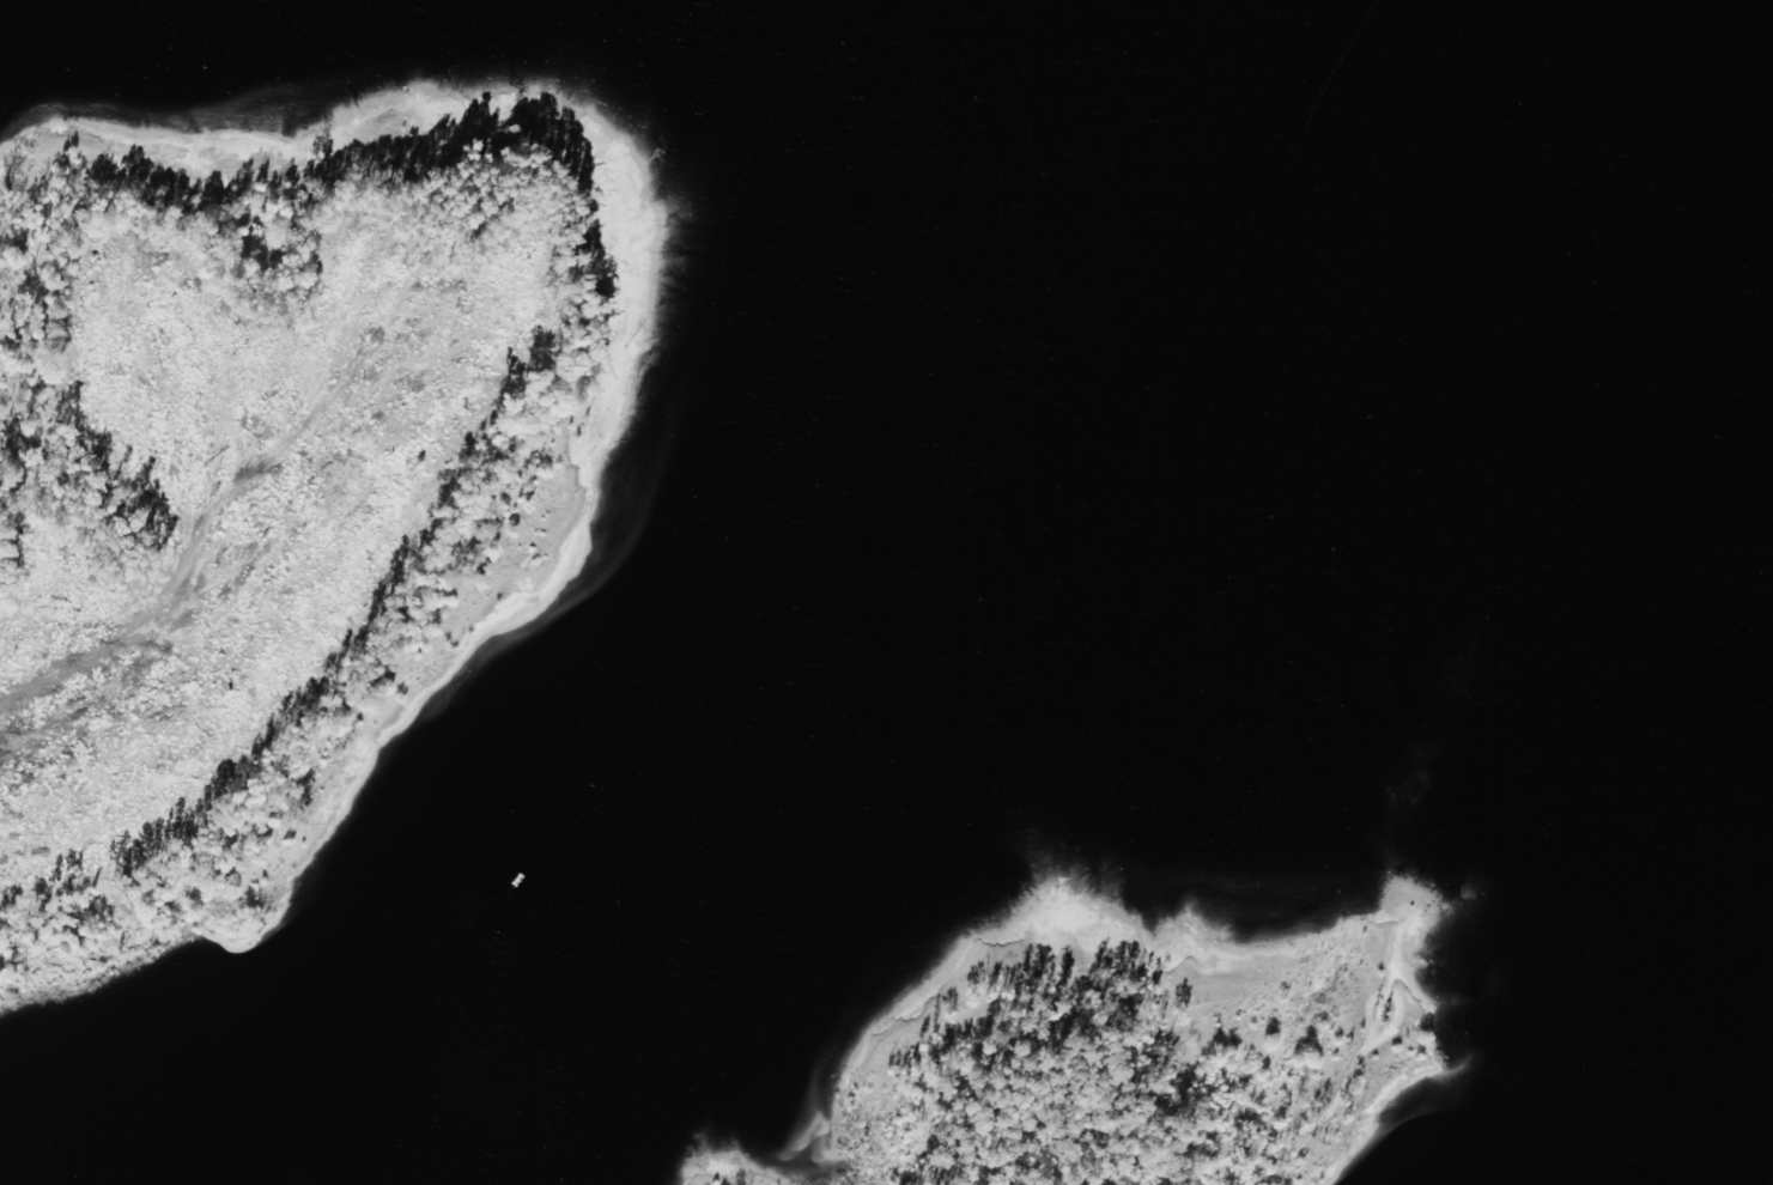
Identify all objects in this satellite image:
road: (1366, 1059)

